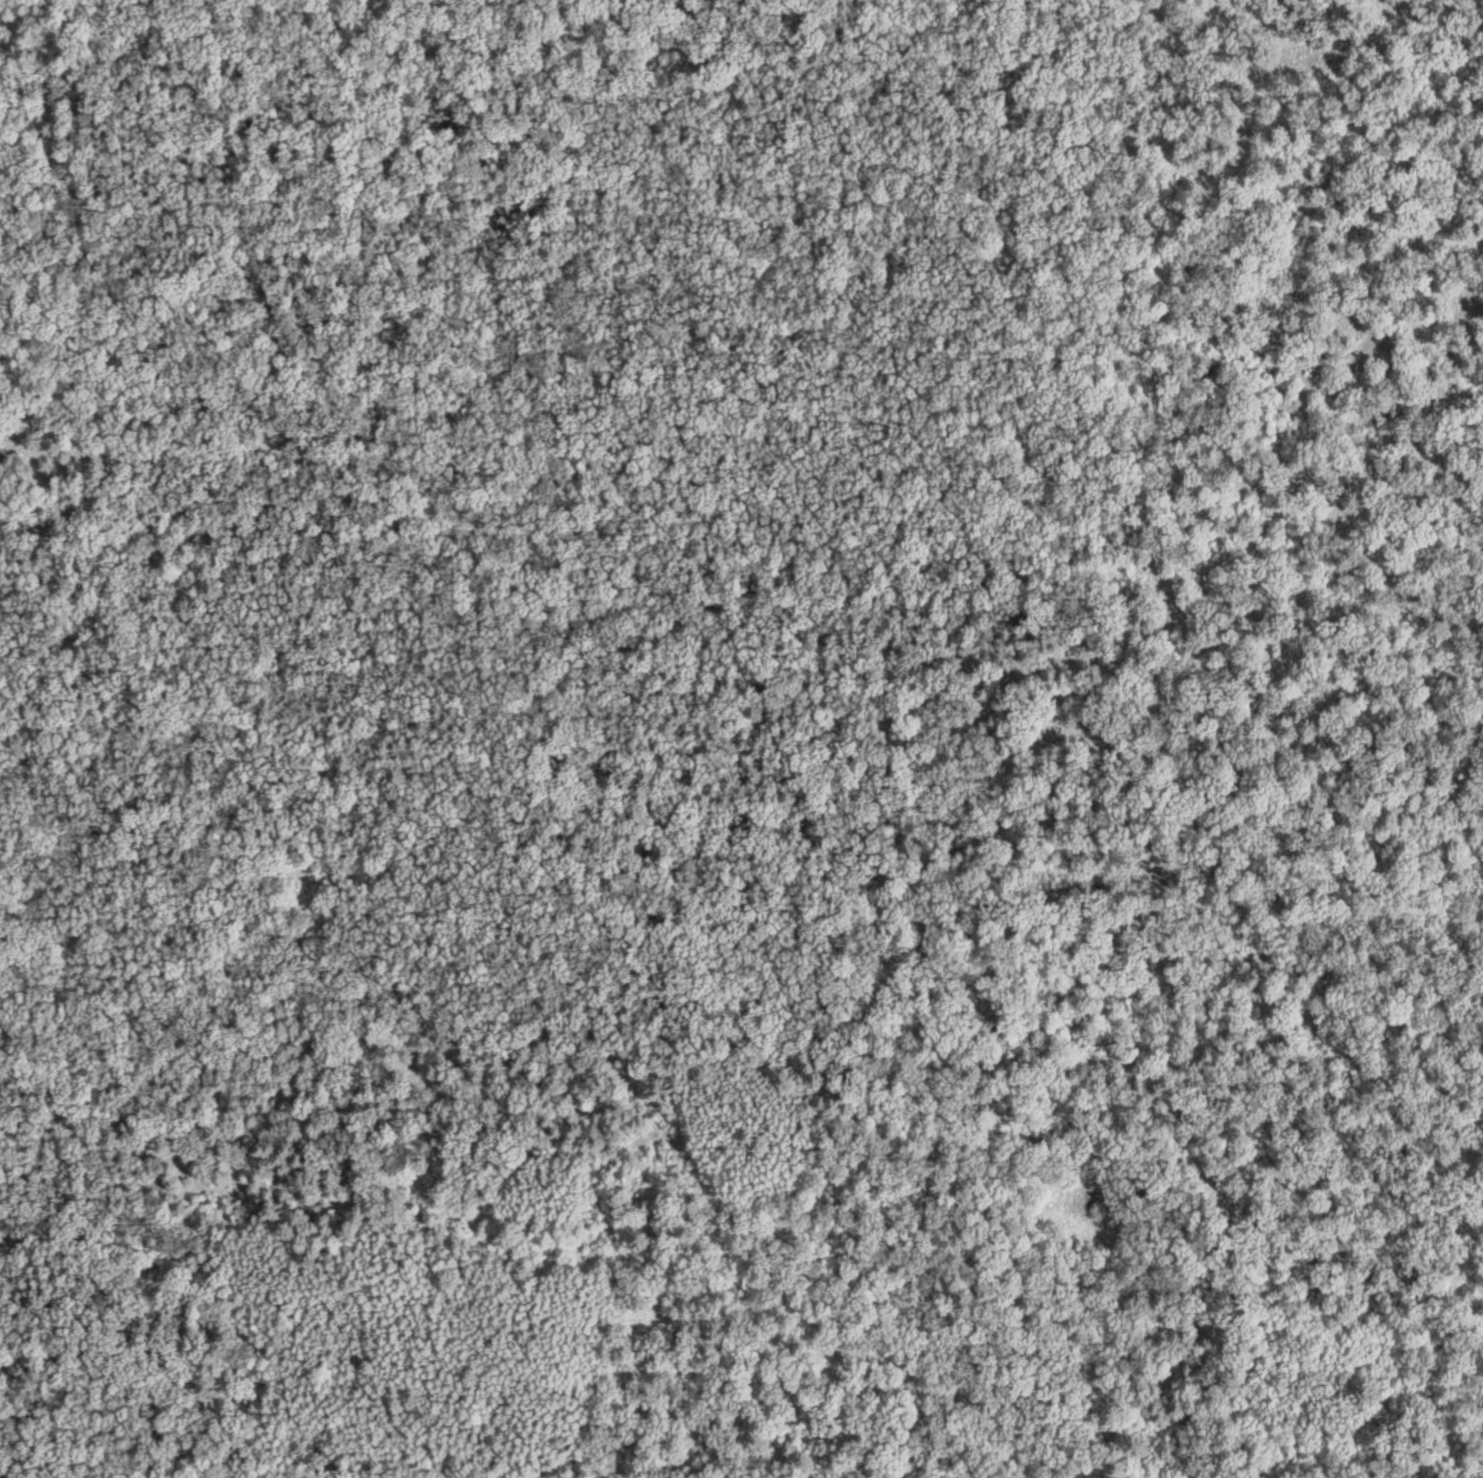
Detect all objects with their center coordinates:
road: (913, 729)

